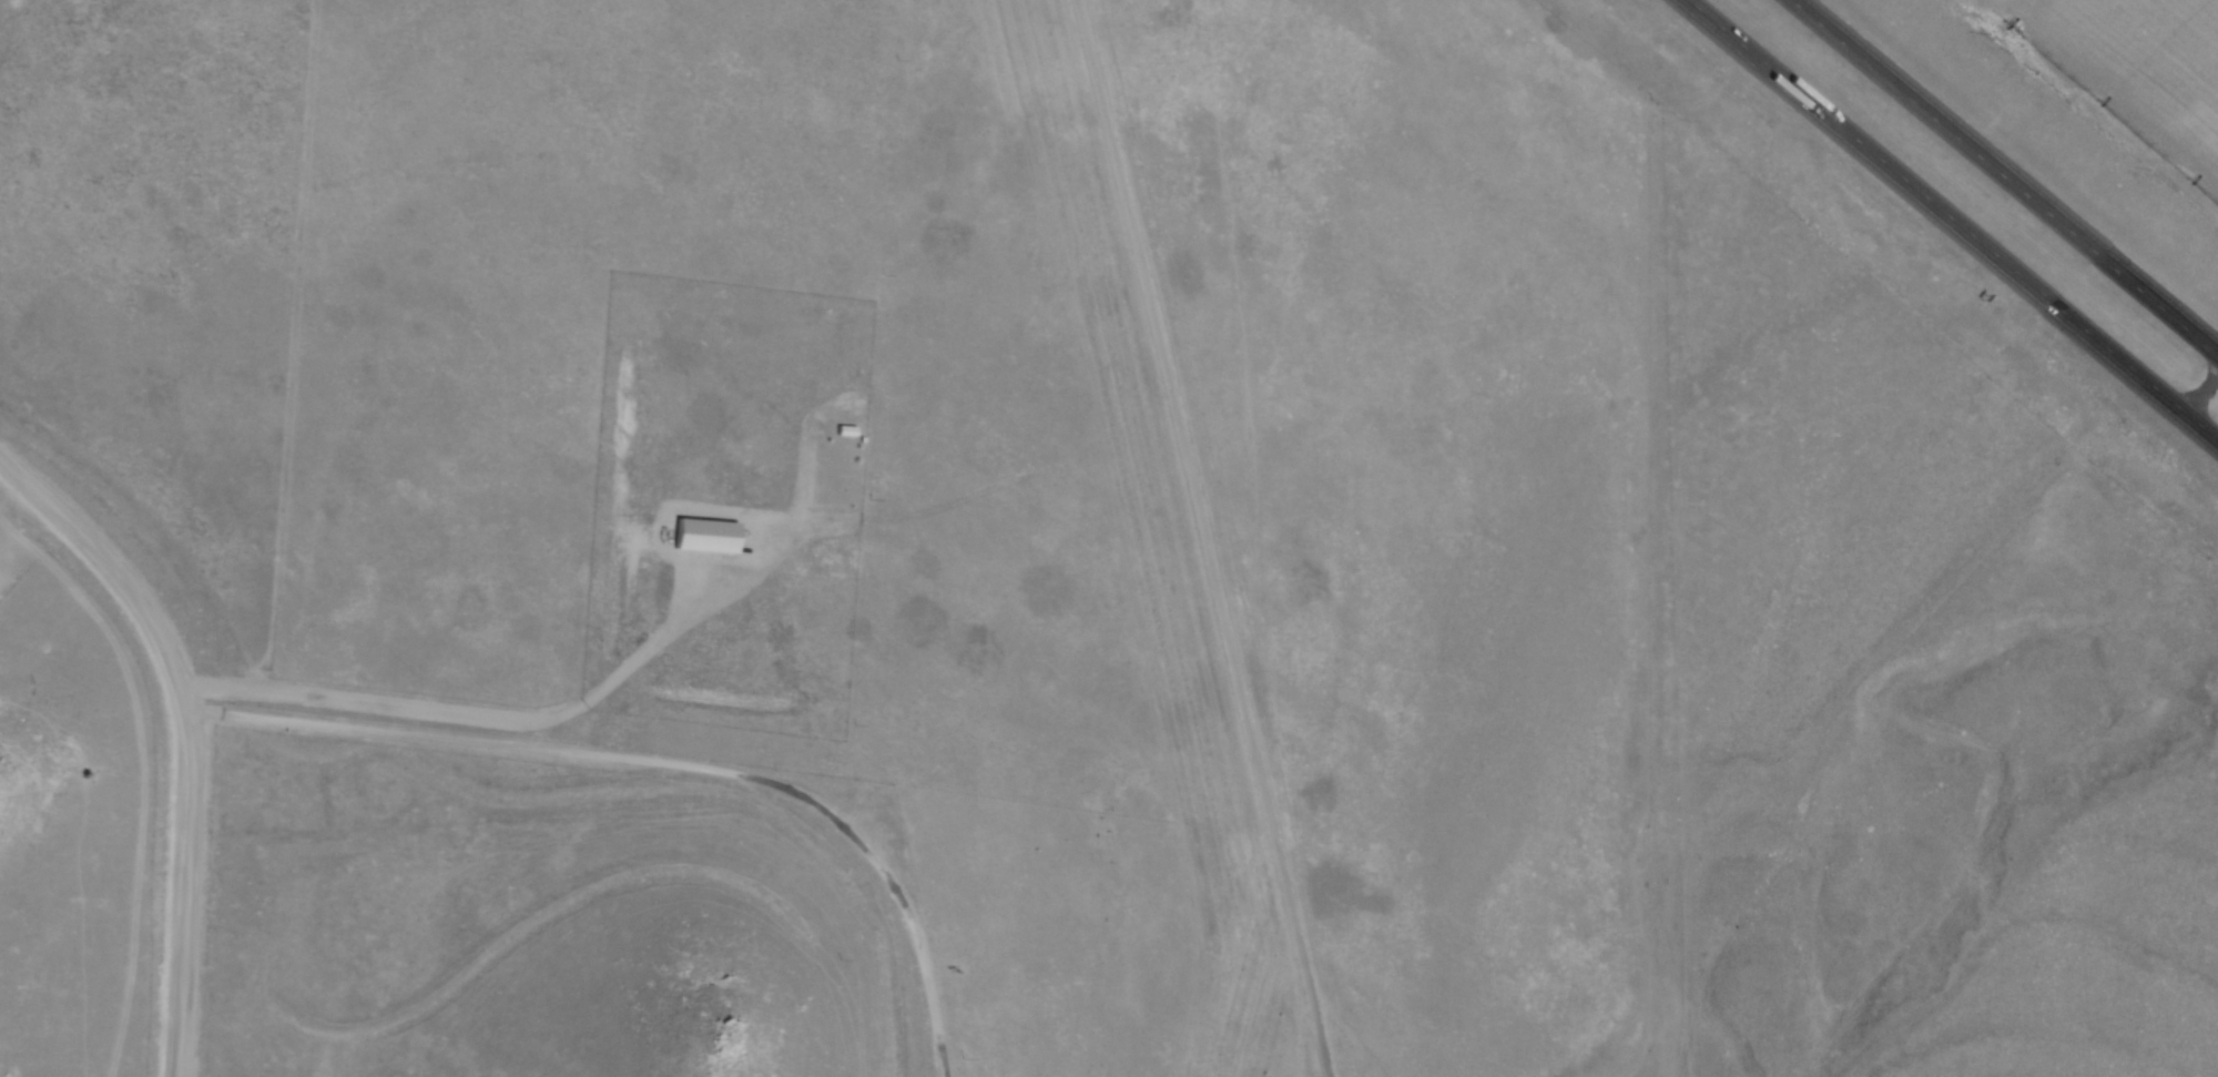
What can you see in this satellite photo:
crop: (2134, 77)
road: (2007, 174)
road: (1954, 217)
building: (841, 434)
road: (1189, 538)
building: (699, 539)
road: (568, 717)
road: (182, 744)
road: (650, 770)

